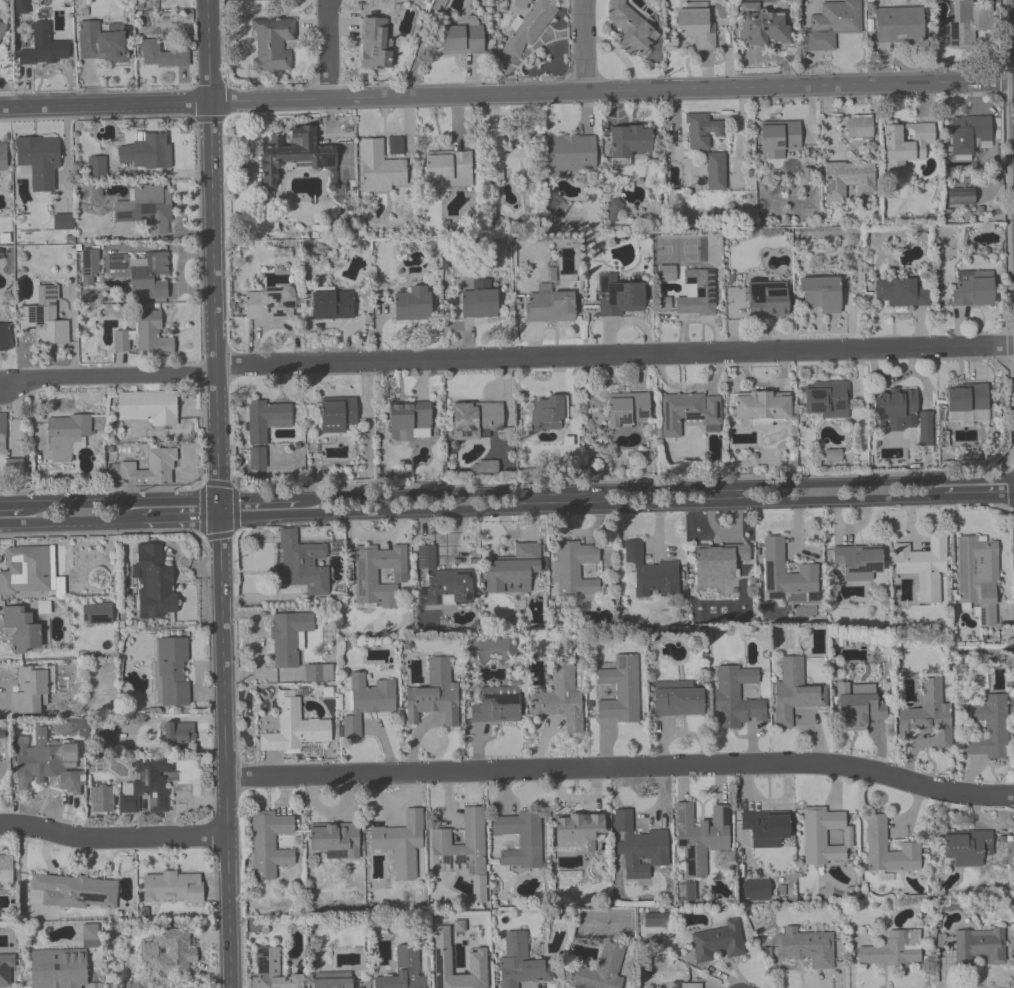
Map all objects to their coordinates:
building: (520, 3)
building: (967, 21)
building: (831, 24)
building: (897, 24)
building: (528, 26)
building: (630, 27)
building: (762, 28)
building: (2, 30)
building: (693, 37)
building: (461, 39)
building: (101, 41)
building: (376, 43)
building: (272, 45)
road: (584, 45)
building: (44, 47)
road: (328, 49)
road: (209, 50)
building: (165, 55)
road: (507, 94)
road: (208, 119)
building: (858, 126)
building: (700, 130)
building: (968, 133)
building: (778, 137)
road: (197, 140)
building: (628, 140)
building: (903, 145)
building: (395, 146)
building: (147, 151)
building: (570, 153)
building: (2, 156)
building: (298, 156)
building: (500, 156)
building: (38, 160)
building: (96, 167)
building: (380, 168)
building: (449, 168)
building: (716, 172)
building: (846, 178)
building: (959, 195)
building: (147, 210)
building: (614, 211)
building: (63, 222)
building: (89, 266)
building: (151, 275)
building: (665, 275)
building: (972, 288)
building: (899, 292)
building: (696, 293)
building: (820, 293)
building: (617, 295)
building: (766, 298)
building: (269, 303)
building: (412, 303)
building: (478, 303)
building: (331, 304)
building: (548, 305)
building: (42, 325)
building: (146, 335)
building: (6, 337)
road: (614, 354)
road: (202, 373)
road: (109, 378)
building: (827, 399)
building: (967, 402)
building: (760, 406)
building: (150, 407)
building: (626, 408)
building: (896, 408)
building: (687, 411)
building: (336, 413)
building: (546, 413)
building: (263, 418)
building: (407, 418)
building: (474, 418)
building: (3, 423)
building: (69, 426)
building: (926, 431)
building: (257, 459)
building: (14, 467)
building: (150, 468)
road: (148, 489)
road: (656, 489)
road: (720, 495)
road: (977, 495)
road: (575, 499)
road: (259, 500)
road: (122, 504)
road: (580, 506)
road: (12, 507)
road: (181, 518)
road: (71, 522)
road: (221, 544)
building: (720, 560)
building: (858, 561)
building: (303, 563)
building: (926, 565)
building: (576, 568)
building: (774, 568)
building: (512, 570)
building: (27, 571)
building: (378, 573)
building: (651, 574)
building: (978, 576)
building: (443, 581)
building: (154, 582)
building: (96, 612)
building: (22, 630)
building: (287, 636)
building: (172, 671)
building: (318, 673)
building: (619, 688)
building: (29, 691)
building: (794, 691)
building: (434, 694)
building: (736, 697)
building: (559, 698)
building: (676, 698)
building: (366, 701)
building: (495, 708)
building: (858, 709)
building: (927, 715)
building: (293, 726)
building: (989, 727)
building: (176, 733)
building: (46, 764)
road: (621, 767)
building: (152, 782)
building: (101, 798)
building: (764, 826)
building: (577, 830)
building: (823, 835)
building: (699, 836)
building: (519, 838)
road: (113, 839)
building: (334, 839)
building: (400, 841)
building: (875, 841)
building: (268, 842)
building: (638, 845)
building: (967, 847)
building: (463, 849)
building: (5, 870)
building: (172, 888)
building: (75, 891)
building: (757, 891)
building: (686, 892)
building: (654, 920)
building: (90, 935)
building: (717, 941)
building: (980, 944)
building: (804, 945)
building: (892, 949)
building: (172, 954)
building: (476, 962)
building: (519, 962)
building: (5, 967)
building: (59, 968)
building: (402, 969)
building: (600, 969)
building: (271, 971)
building: (332, 982)
building: (689, 985)

